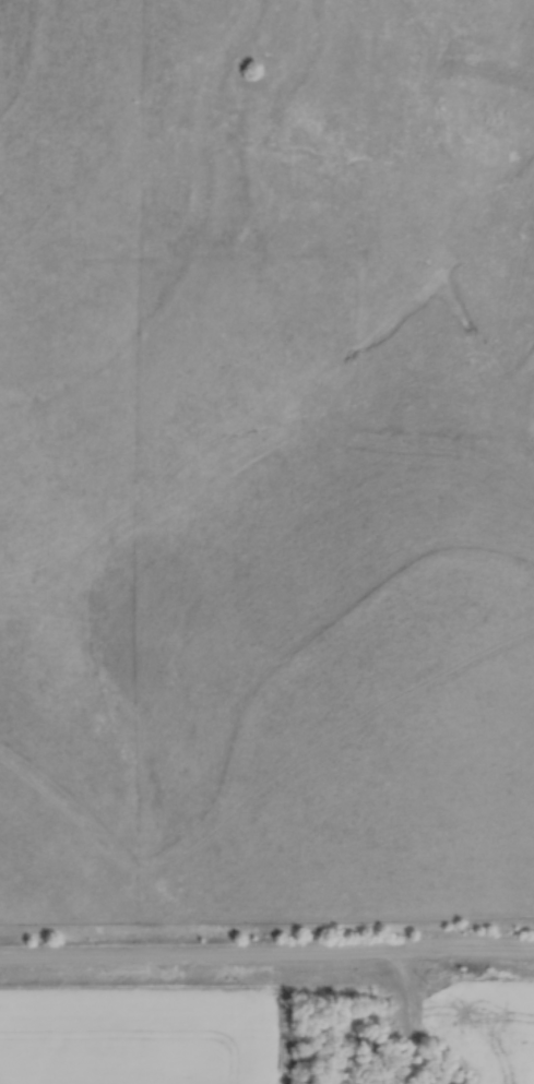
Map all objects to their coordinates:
road: (266, 954)
building: (360, 1041)

